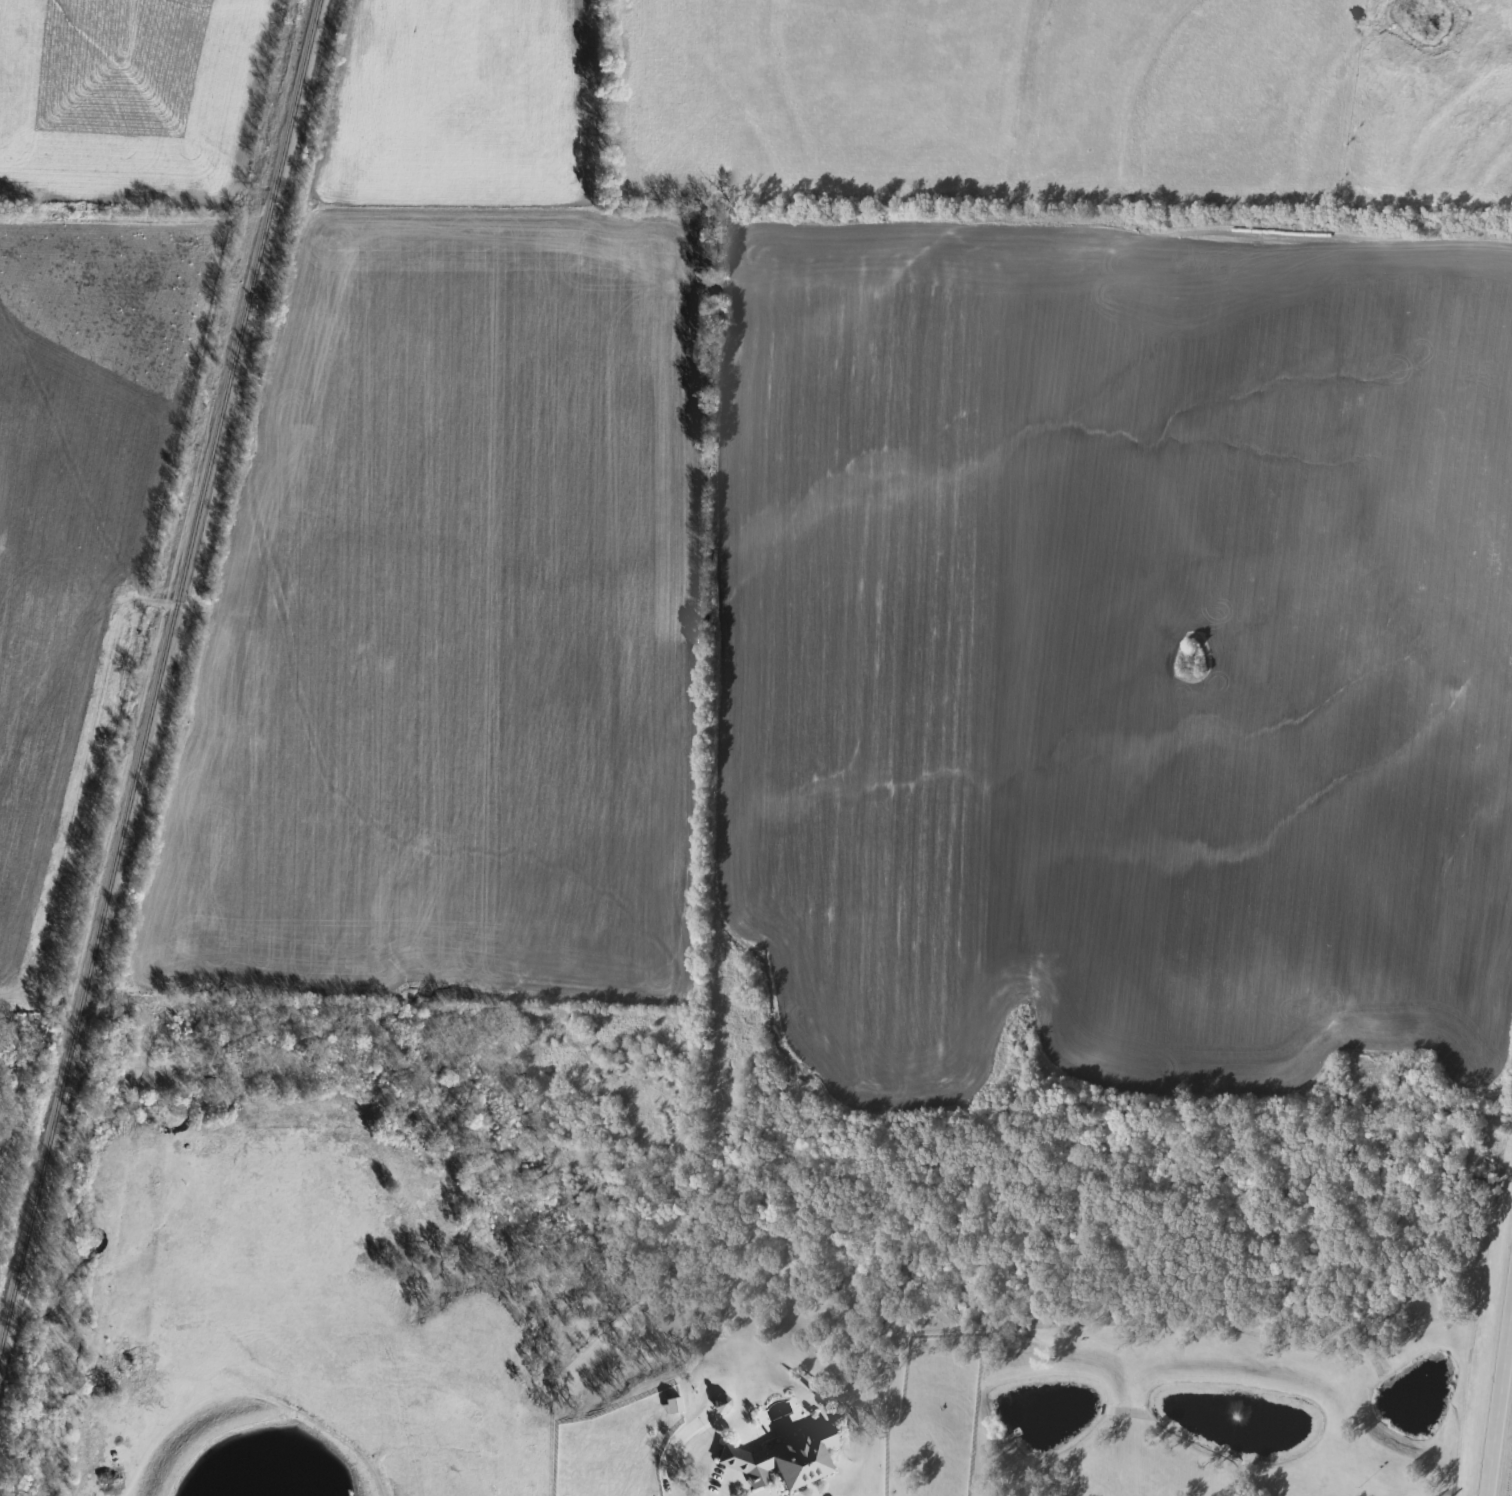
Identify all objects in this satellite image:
crop: (127, 97)
road: (175, 604)
railway: (160, 676)
road: (1496, 1380)
road: (676, 1443)
building: (784, 1459)

